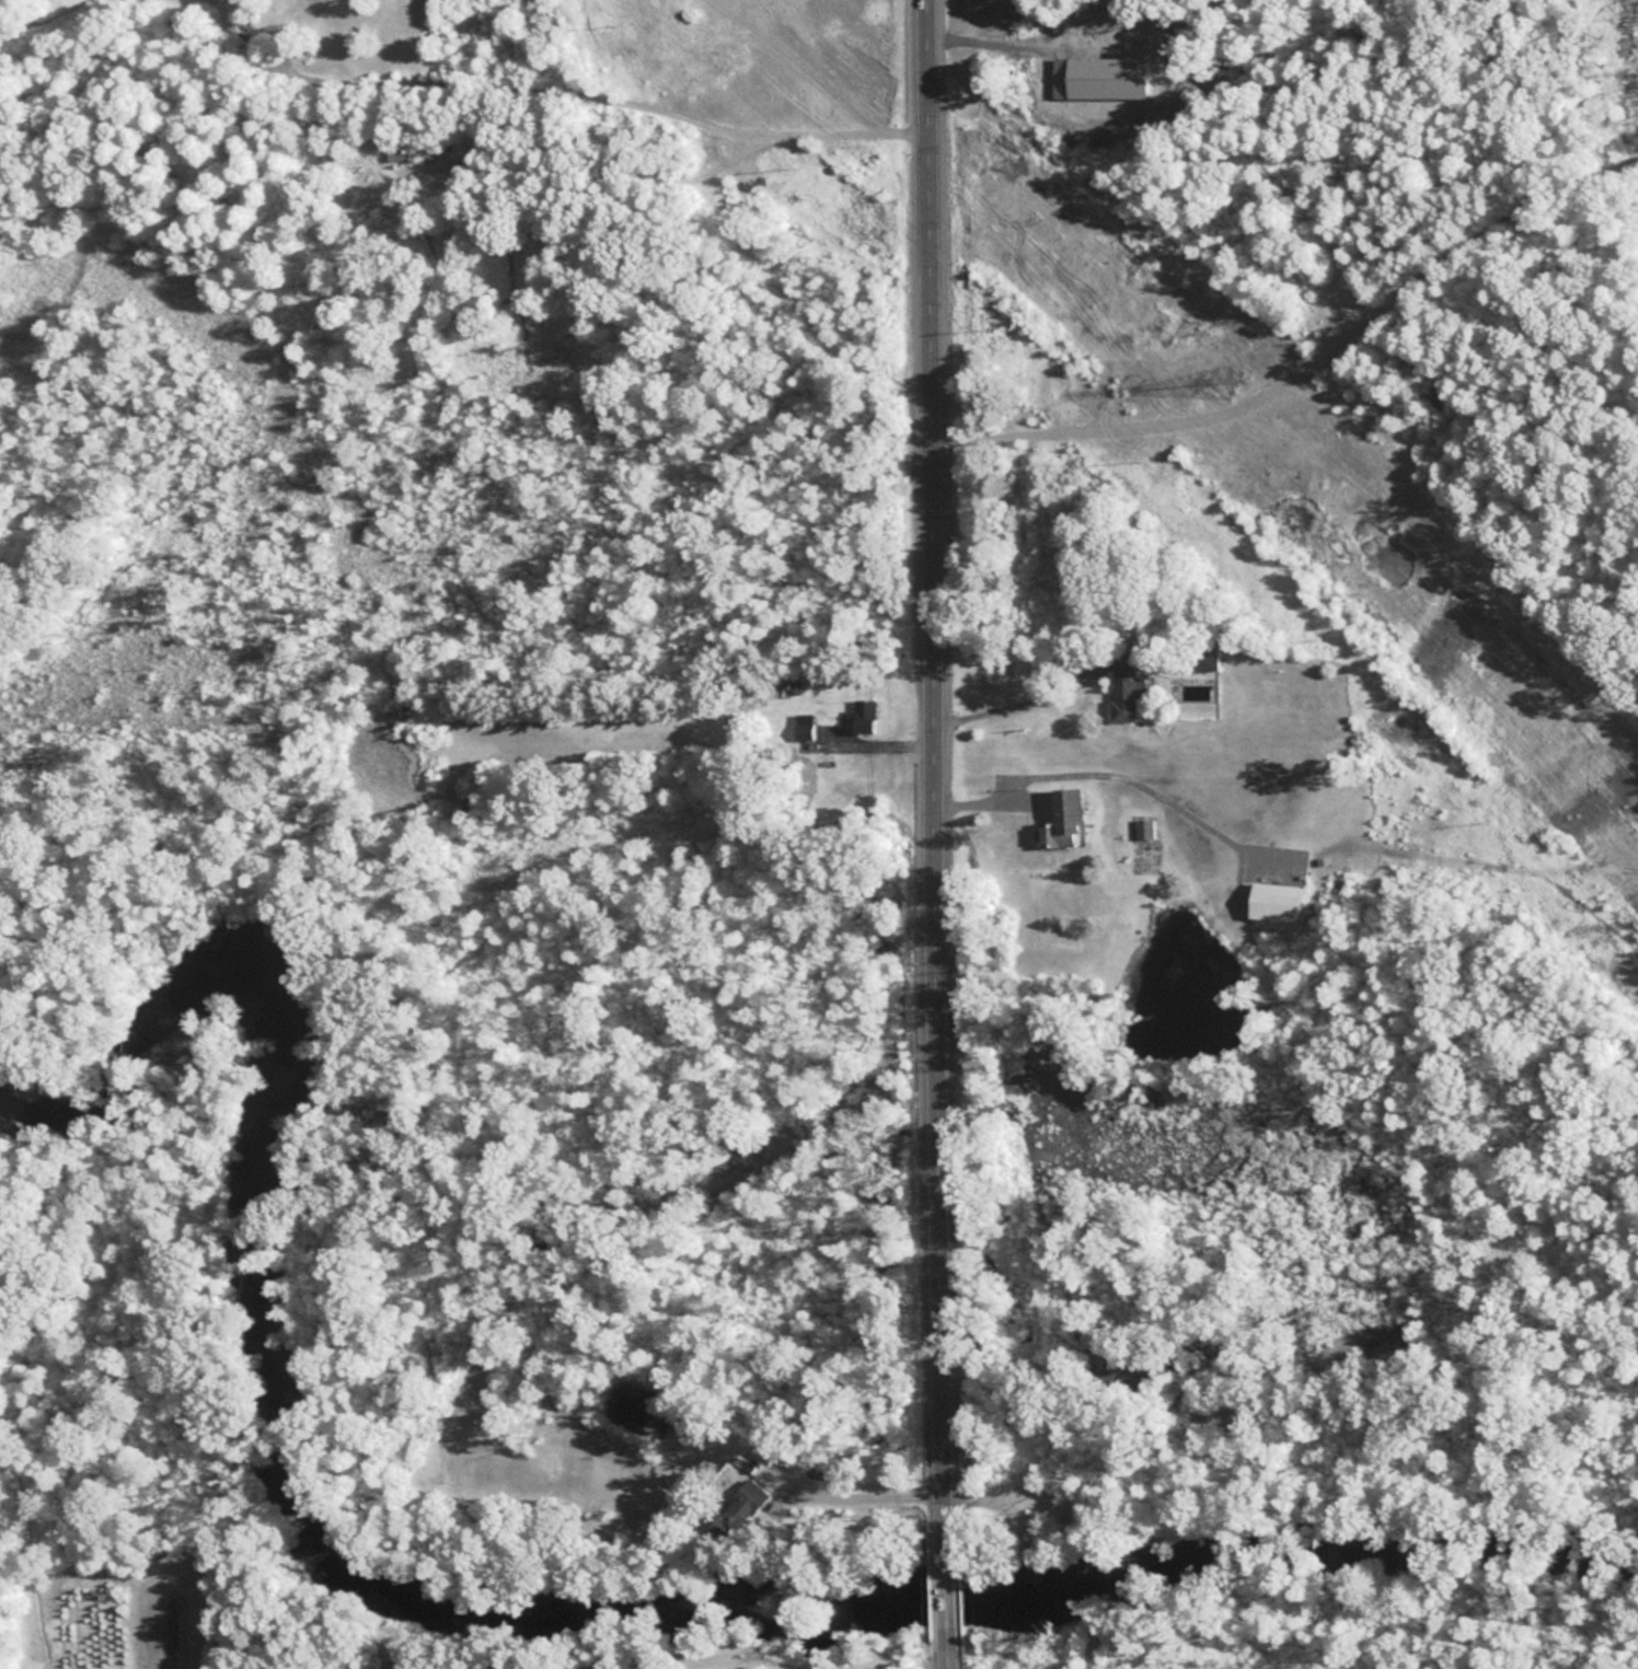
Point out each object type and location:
road: (601, 97)
road: (489, 126)
building: (414, 154)
road: (1313, 368)
power tower: (1227, 381)
building: (1200, 663)
building: (1128, 689)
road: (1024, 703)
building: (867, 719)
building: (806, 729)
road: (881, 740)
road: (938, 752)
road: (1098, 766)
building: (1069, 823)
building: (1146, 831)
building: (1280, 904)
parking lot: (1031, 1492)
road: (1003, 1495)
road: (868, 1498)
building: (752, 1505)
road: (946, 1587)
river: (468, 1615)

